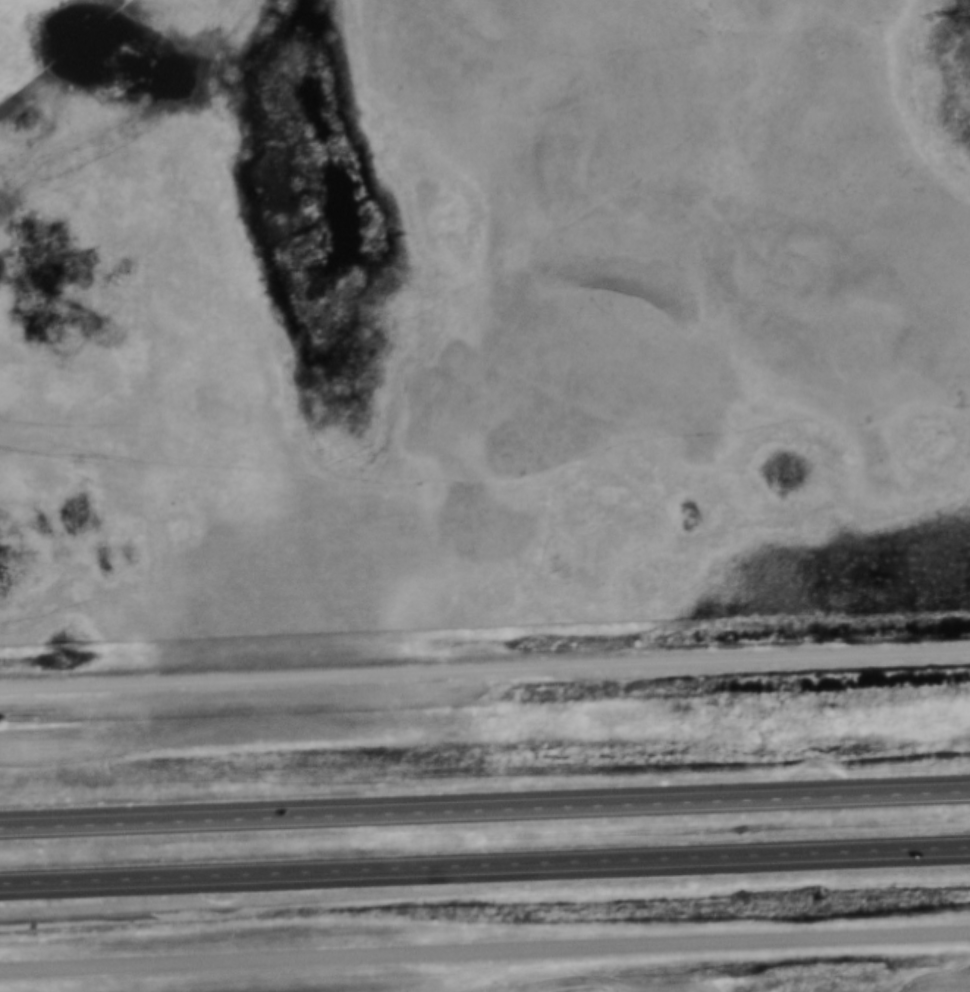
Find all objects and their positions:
road: (485, 673)
road: (485, 813)
road: (484, 866)
road: (485, 954)

